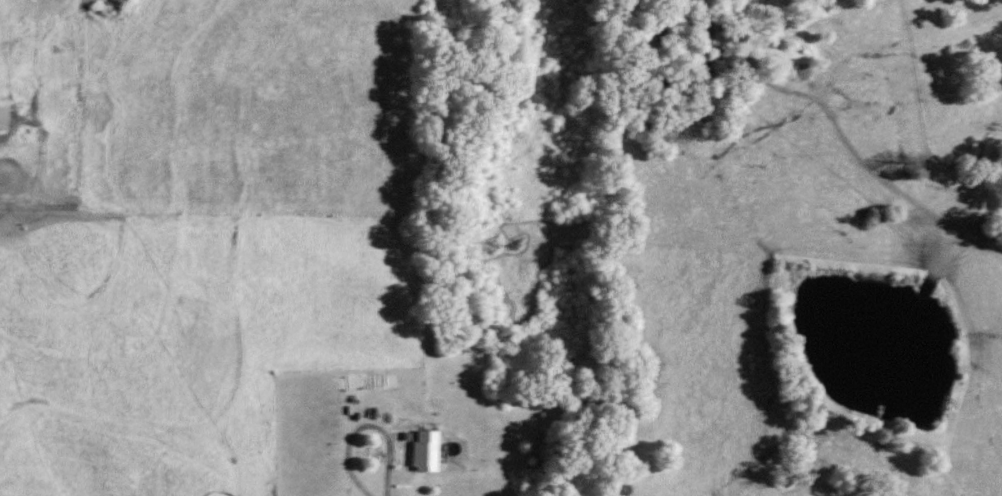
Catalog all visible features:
building: (3, 118)
road: (361, 422)
building: (424, 451)

